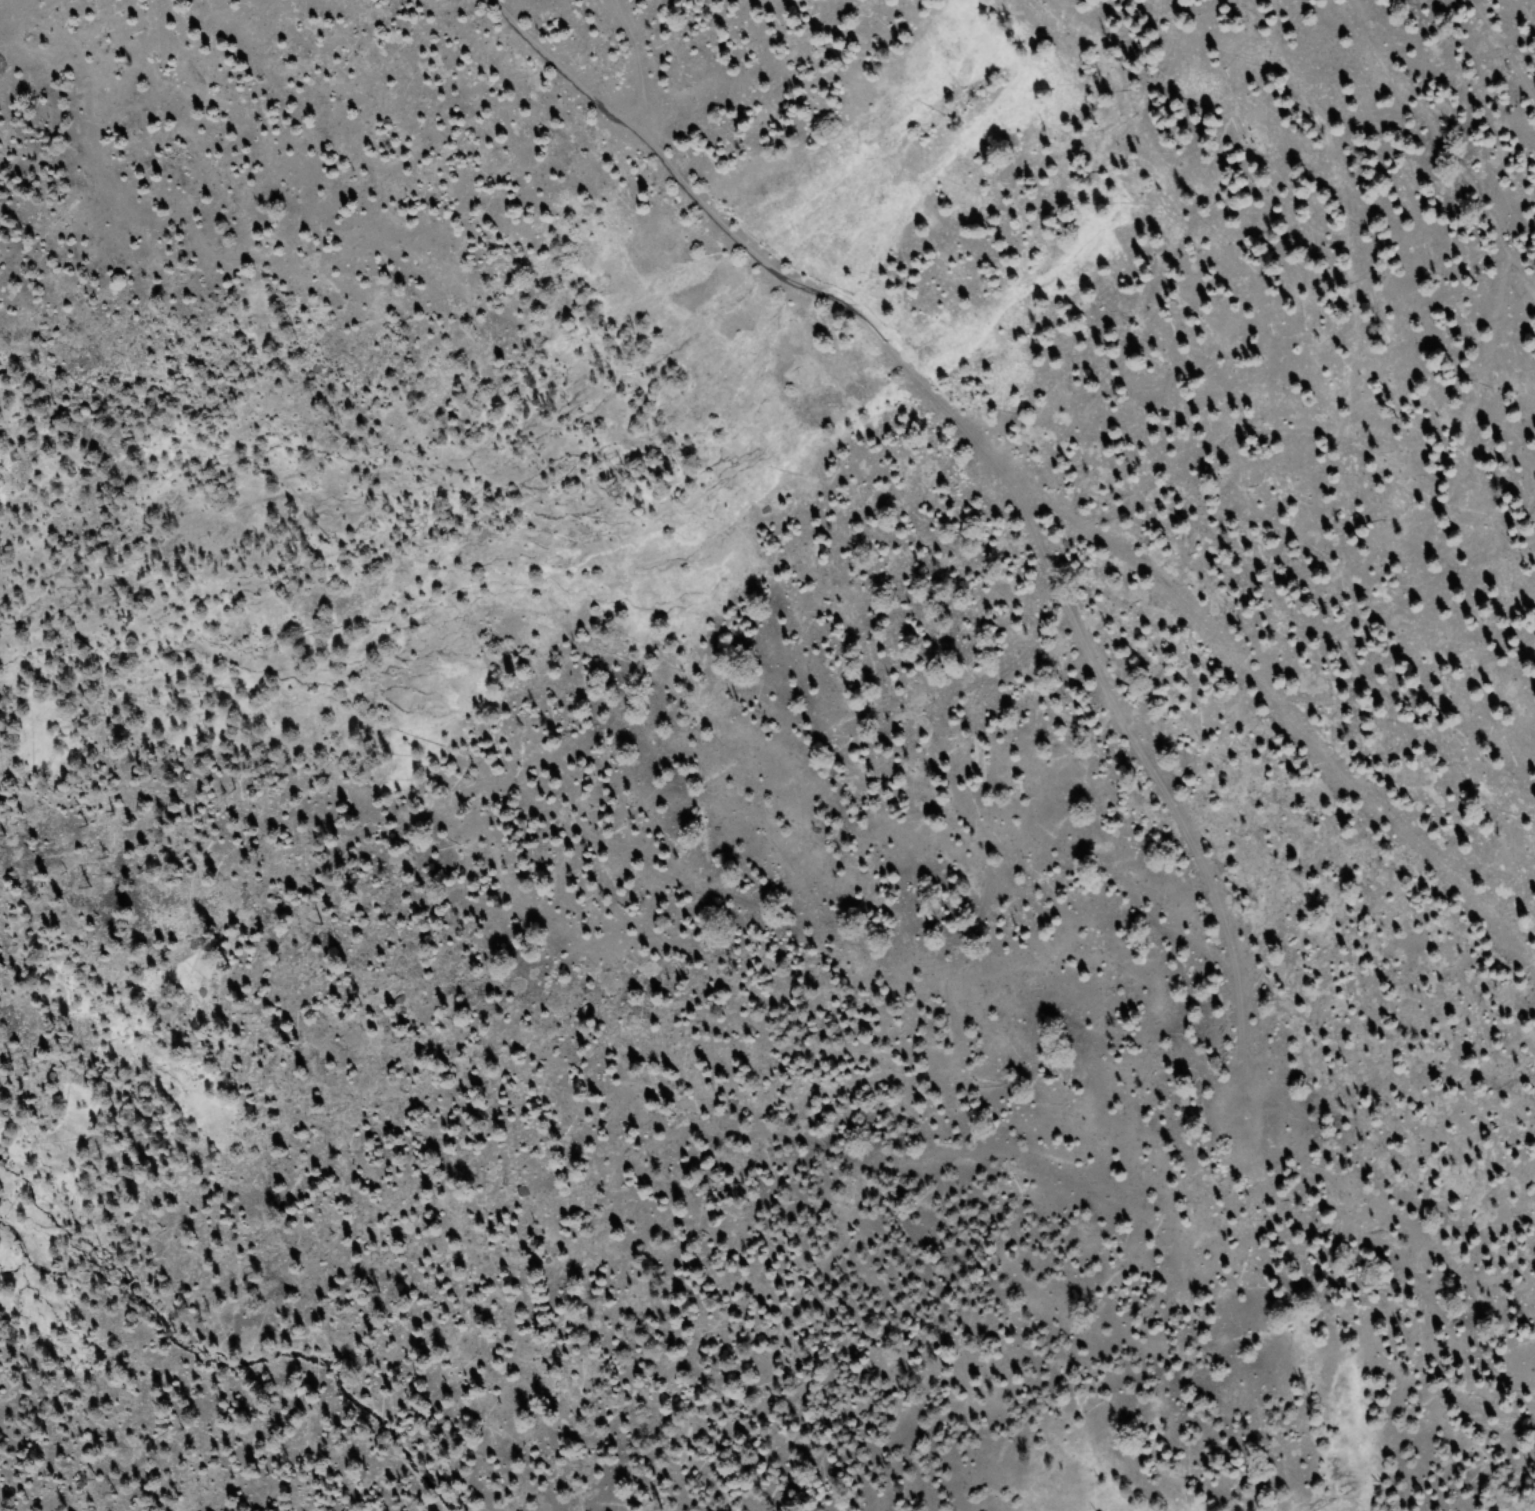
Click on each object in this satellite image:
road: (574, 68)
road: (1484, 70)
road: (1051, 490)
road: (755, 589)
road: (1179, 795)
road: (1354, 1320)

